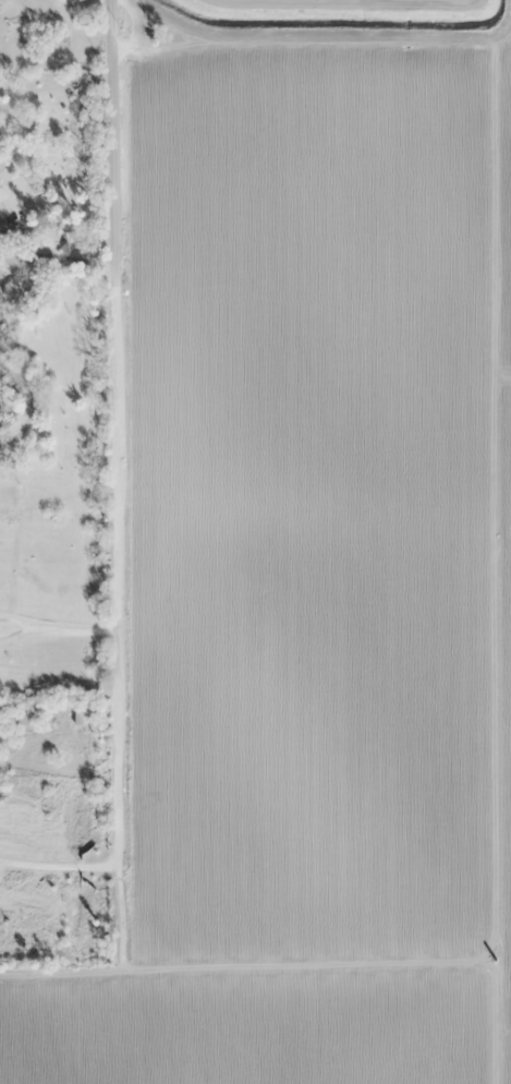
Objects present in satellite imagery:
road: (113, 134)
road: (118, 610)
crop: (248, 1027)

